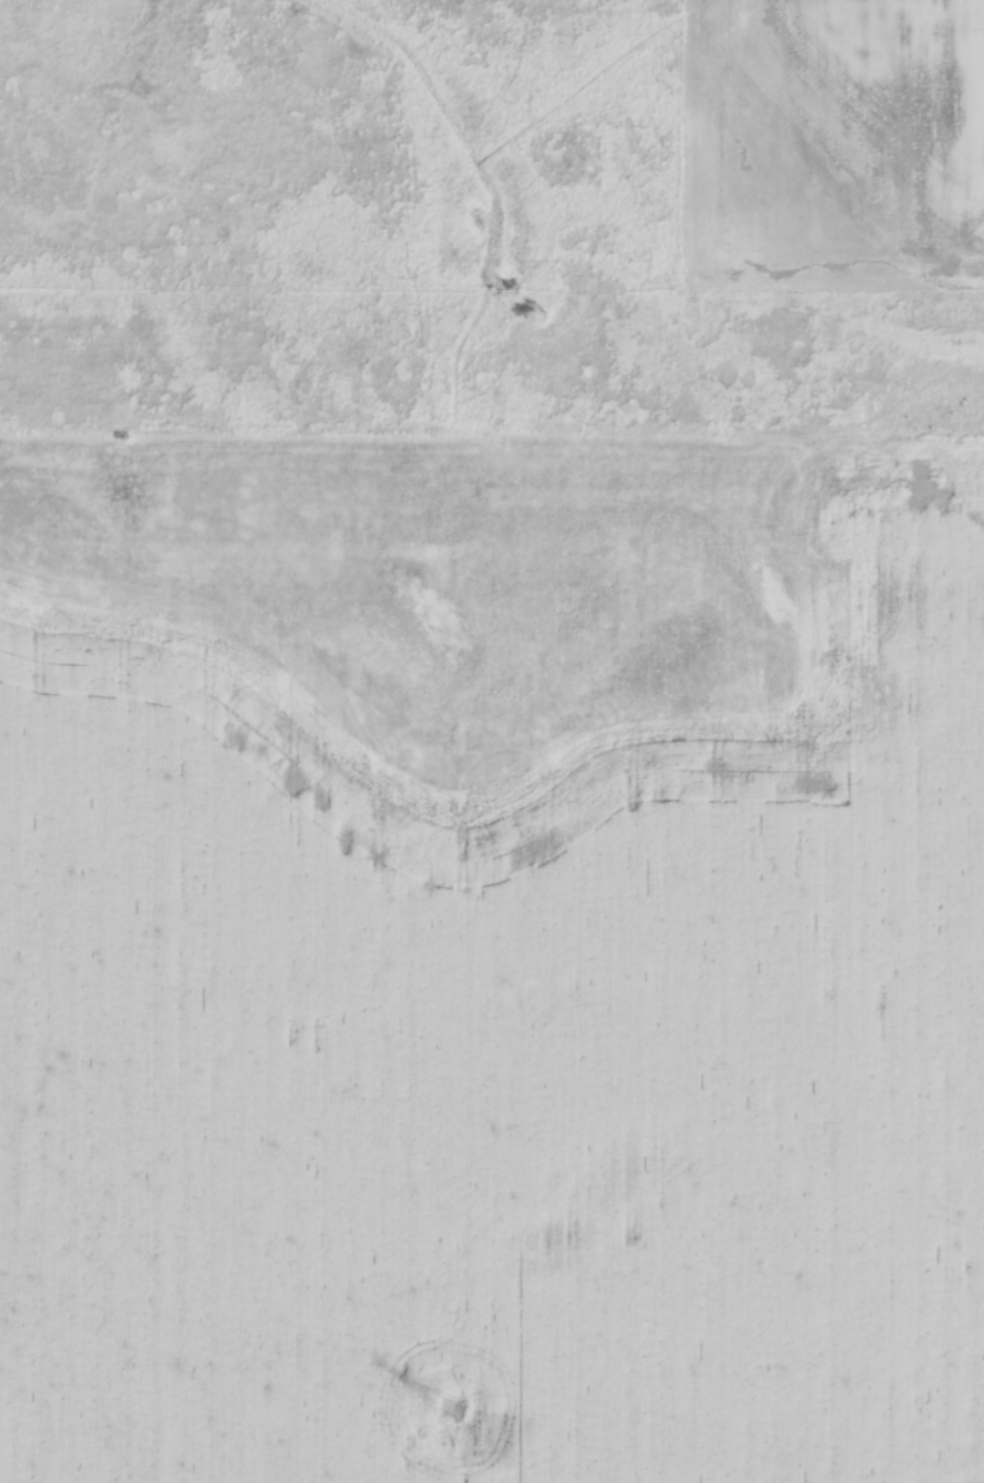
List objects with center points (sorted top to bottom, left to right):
power tower: (457, 1392)

